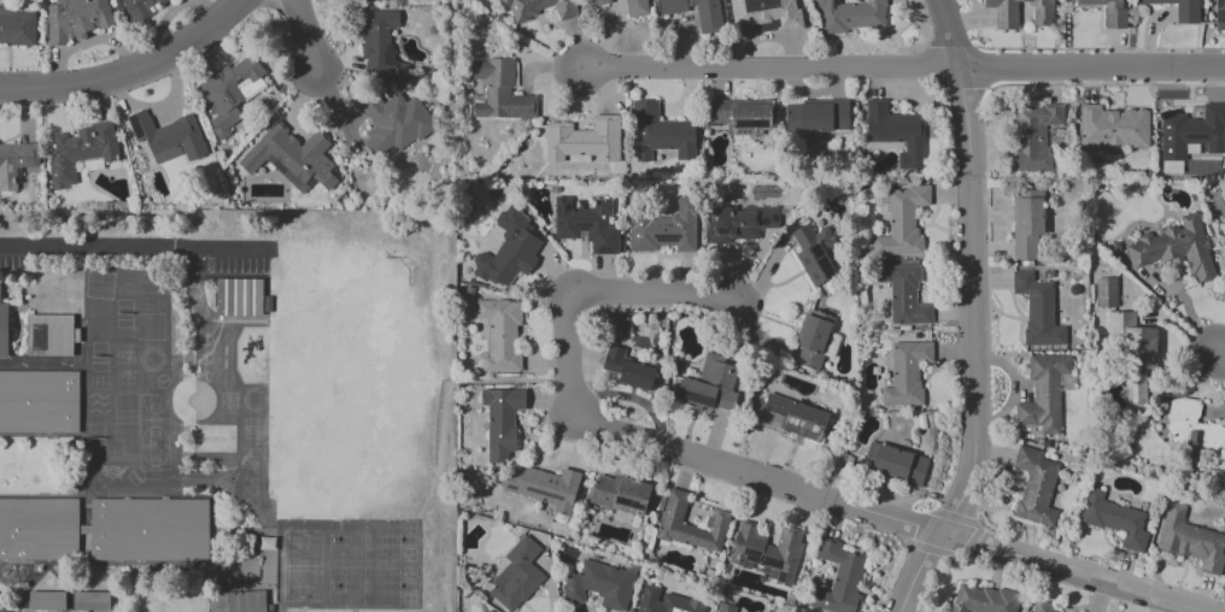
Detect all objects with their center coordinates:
building: (628, 6)
building: (538, 7)
building: (139, 8)
building: (1180, 10)
building: (1108, 11)
building: (763, 14)
building: (1219, 14)
building: (850, 16)
building: (1006, 17)
building: (75, 19)
building: (708, 23)
building: (17, 27)
road: (307, 34)
building: (379, 45)
road: (908, 69)
road: (133, 72)
building: (229, 92)
building: (499, 92)
building: (740, 114)
building: (815, 116)
building: (393, 122)
rooftop solar panel: (755, 124)
rooftop solar panel: (137, 125)
building: (1113, 128)
building: (1191, 131)
building: (660, 133)
building: (896, 133)
building: (1032, 135)
building: (166, 136)
building: (584, 140)
building: (80, 151)
building: (291, 158)
building: (16, 161)
rooftop solar panel: (277, 165)
building: (1171, 166)
rooftop solar panel: (293, 181)
rooftop solar panel: (766, 222)
building: (902, 222)
building: (738, 223)
building: (586, 224)
building: (1027, 224)
building: (664, 229)
rooftop solar panel: (728, 231)
rooftop solar panel: (669, 239)
road: (136, 246)
building: (1174, 248)
parking lot: (13, 251)
building: (509, 251)
rooftop solar panel: (820, 252)
building: (814, 253)
parking lot: (227, 255)
rooftop solar panel: (831, 264)
rooftop solar panel: (241, 289)
rooftop solar panel: (262, 290)
rooftop solar panel: (222, 292)
rooftop solar panel: (229, 292)
rooftop solar panel: (251, 292)
building: (1104, 292)
building: (903, 294)
building: (241, 296)
road: (596, 296)
building: (1037, 310)
road: (973, 311)
building: (4, 325)
building: (51, 334)
building: (500, 334)
building: (811, 339)
building: (1133, 341)
road: (1220, 355)
road: (43, 364)
building: (627, 369)
building: (905, 372)
building: (709, 384)
road: (449, 389)
building: (1043, 394)
road: (634, 398)
building: (39, 401)
building: (792, 418)
building: (500, 422)
building: (1191, 429)
building: (893, 464)
building: (544, 487)
building: (1034, 487)
rooftop solar panel: (509, 488)
rooftop solar panel: (543, 493)
building: (620, 494)
rooftop solar panel: (621, 502)
rooftop solar panel: (629, 504)
rooftop solar panel: (635, 506)
building: (670, 518)
road: (895, 519)
building: (1114, 519)
building: (107, 528)
building: (1190, 540)
building: (768, 552)
rooftop solar panel: (755, 554)
park: (348, 563)
rooftop solar panel: (770, 564)
building: (516, 575)
building: (838, 578)
building: (598, 585)
building: (90, 599)
building: (981, 600)
building: (47, 601)
building: (236, 601)
building: (667, 601)
building: (1042, 606)
building: (725, 607)
road: (281, 610)

